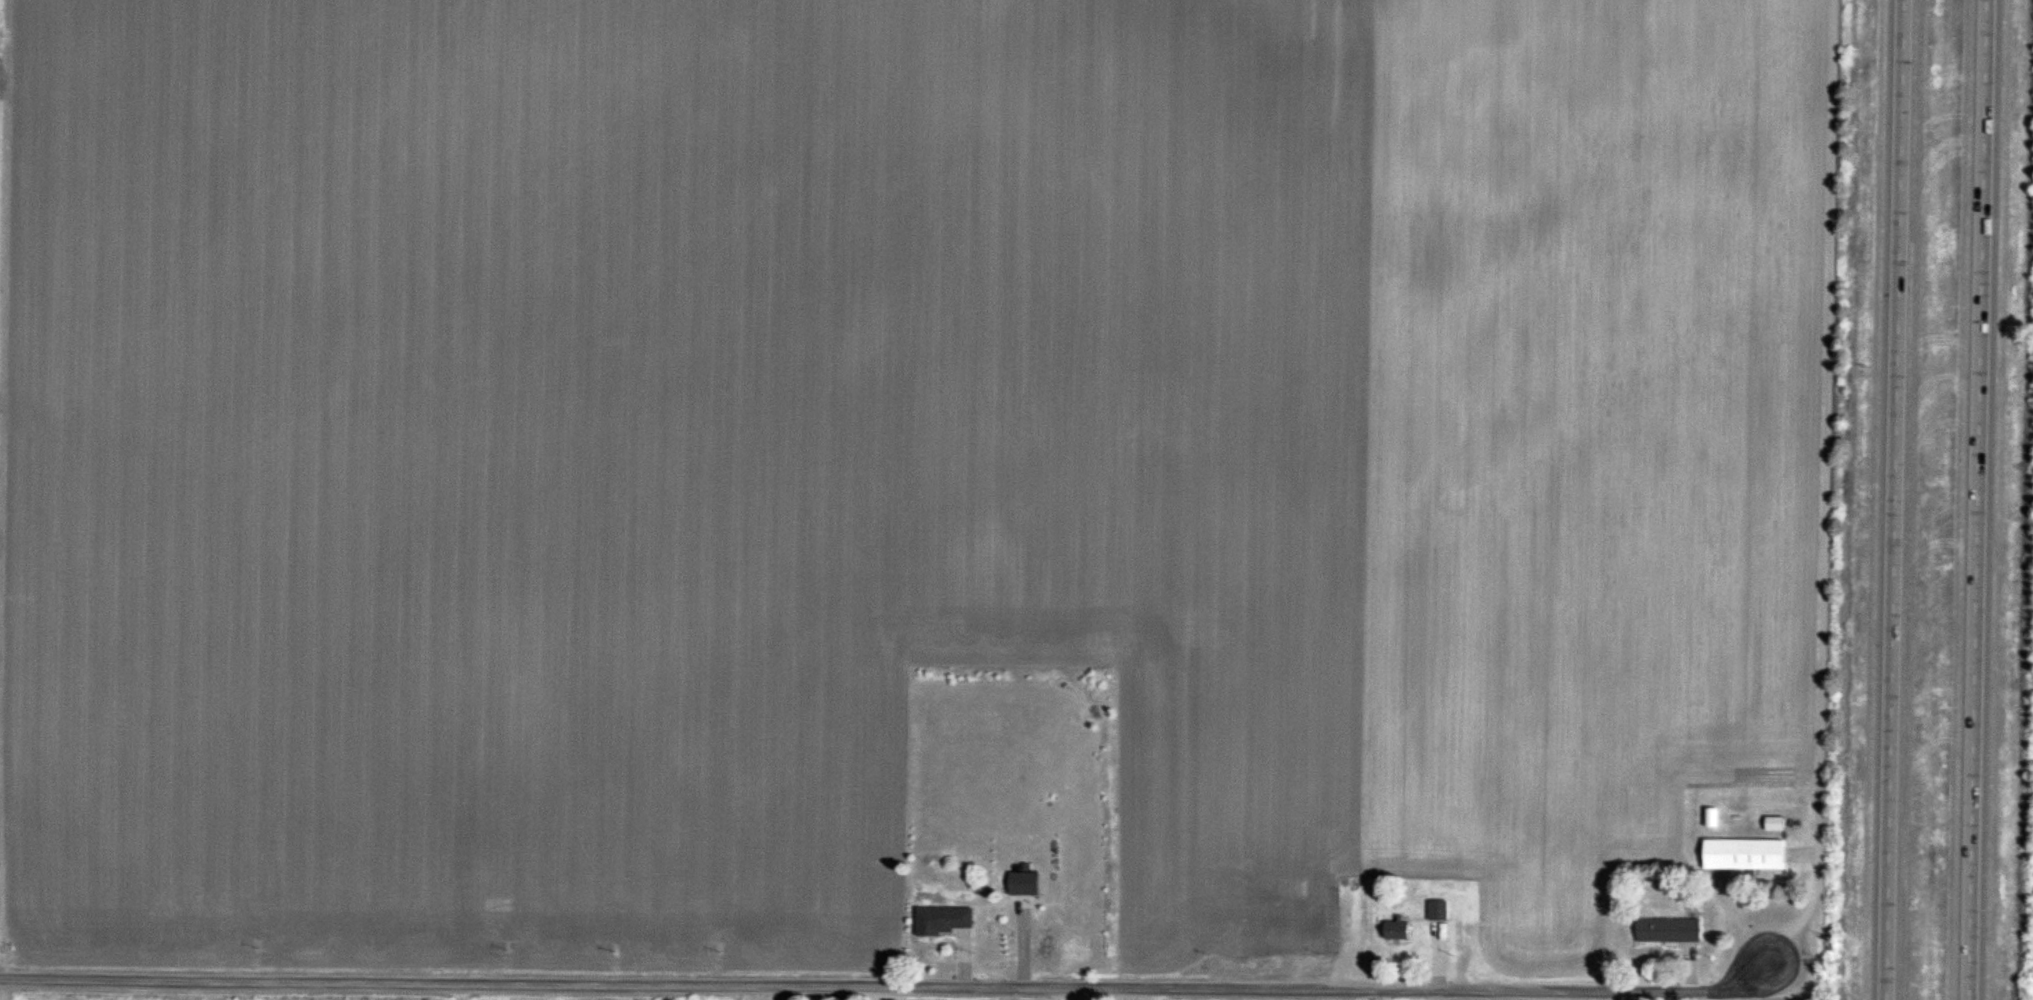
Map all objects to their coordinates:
road: (1892, 500)
road: (1979, 500)
building: (1711, 819)
building: (1744, 855)
building: (1023, 885)
building: (1458, 907)
building: (944, 921)
building: (1397, 929)
building: (1669, 932)
road: (887, 981)

